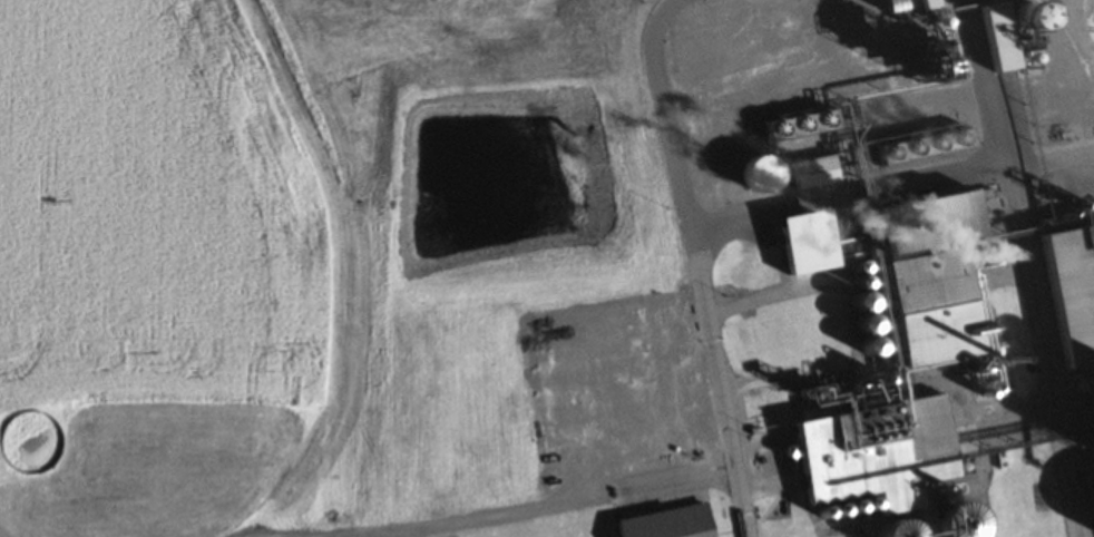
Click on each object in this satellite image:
building: (983, 144)
building: (761, 178)
building: (807, 178)
road: (749, 225)
building: (924, 284)
building: (1069, 300)
road: (1034, 355)
building: (865, 453)
road: (536, 506)
building: (665, 526)

